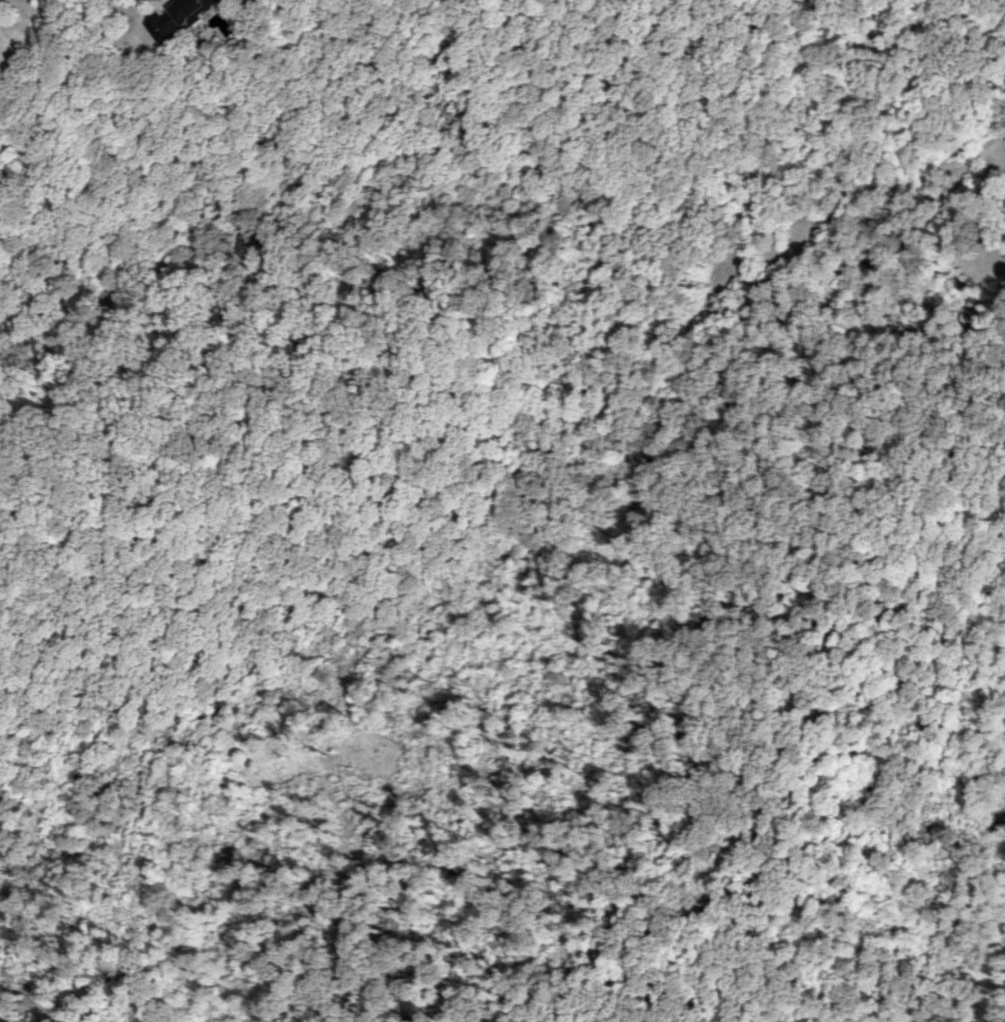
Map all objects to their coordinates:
building: (177, 17)
road: (137, 20)

